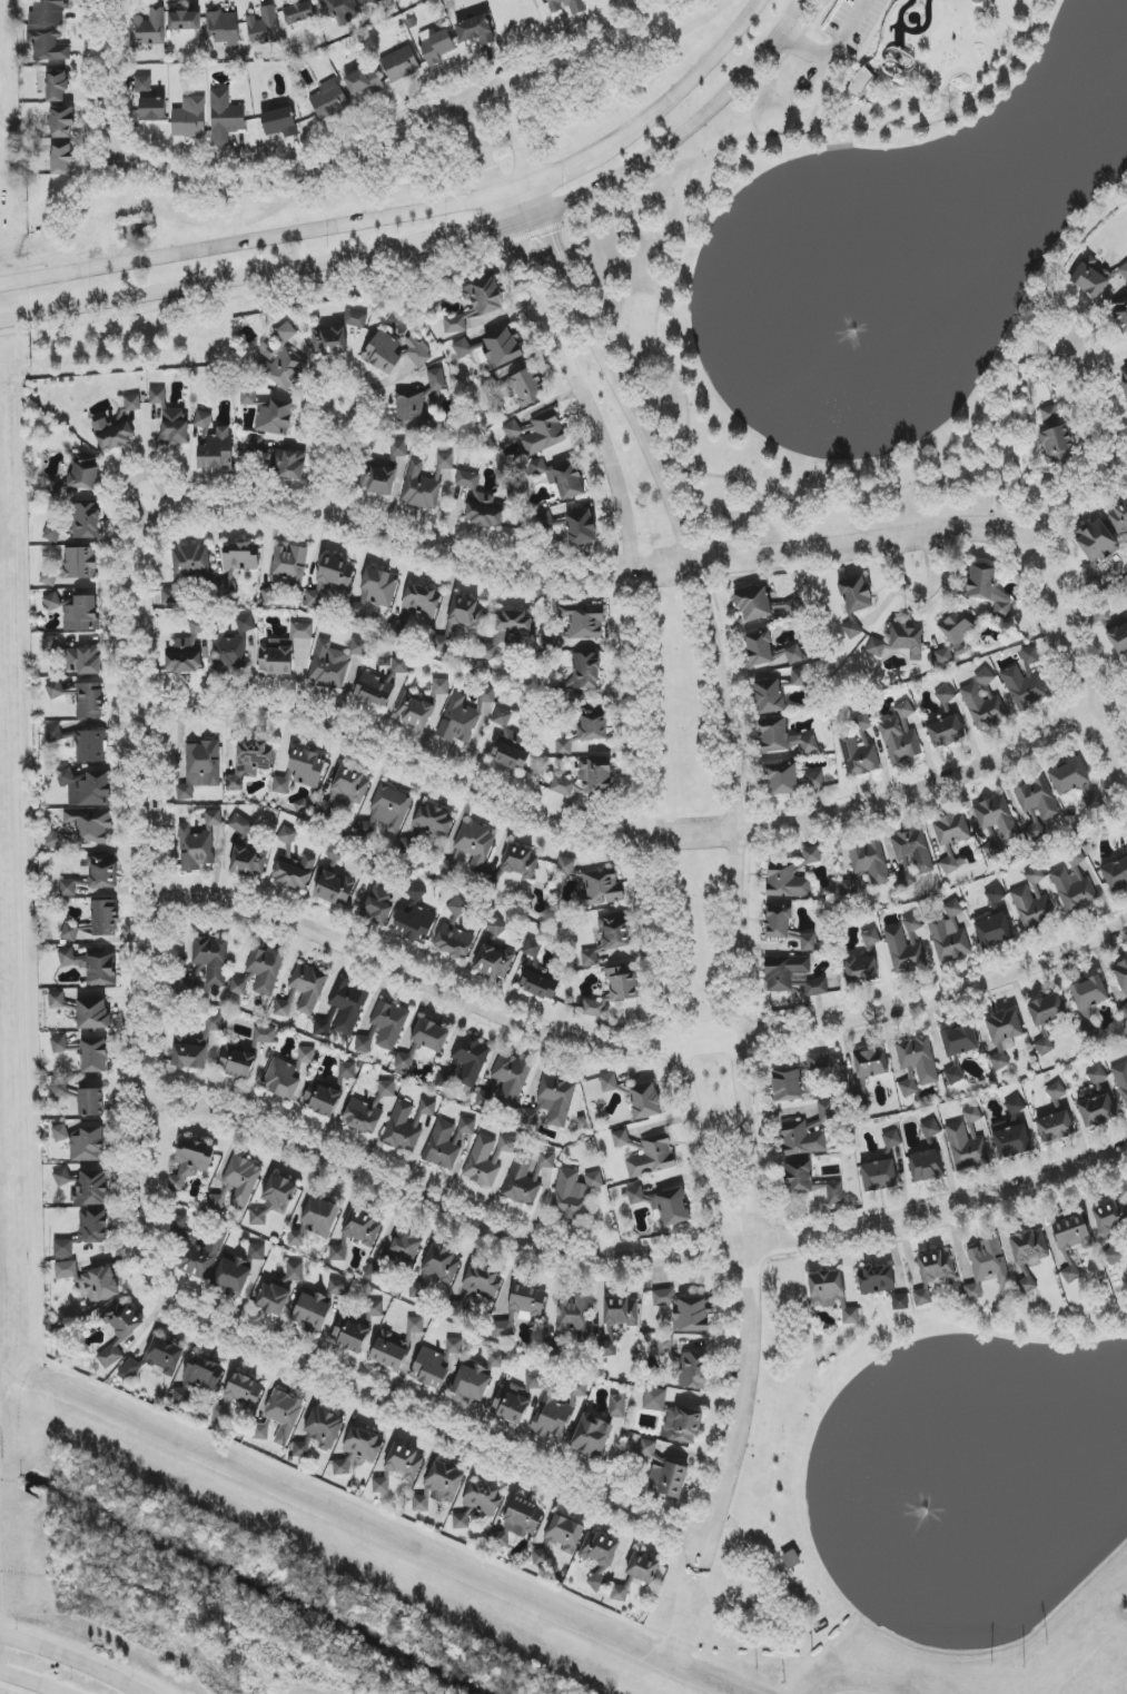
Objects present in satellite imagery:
building: (595, 0)
building: (369, 2)
building: (567, 7)
building: (342, 10)
building: (48, 12)
building: (299, 12)
building: (184, 21)
building: (264, 27)
building: (223, 28)
building: (150, 30)
building: (475, 30)
building: (48, 46)
building: (436, 46)
road: (833, 50)
road: (780, 63)
building: (399, 65)
road: (695, 75)
road: (107, 79)
building: (364, 81)
building: (142, 83)
building: (860, 83)
building: (57, 86)
building: (329, 100)
building: (152, 109)
road: (939, 117)
building: (189, 118)
building: (225, 118)
road: (401, 120)
building: (62, 122)
building: (279, 122)
road: (689, 127)
road: (731, 141)
building: (61, 158)
road: (558, 167)
road: (488, 229)
road: (248, 240)
building: (1124, 271)
building: (1091, 277)
road: (217, 284)
building: (476, 304)
building: (1120, 313)
building: (355, 319)
fountain: (852, 329)
building: (285, 334)
building: (328, 340)
building: (494, 348)
building: (416, 350)
building: (383, 353)
building: (284, 368)
building: (1124, 382)
building: (518, 387)
building: (157, 396)
building: (248, 397)
building: (417, 403)
road: (1098, 408)
building: (1049, 415)
building: (275, 418)
building: (204, 423)
road: (350, 425)
building: (174, 426)
building: (516, 430)
building: (544, 434)
building: (1056, 445)
road: (688, 447)
building: (398, 449)
building: (217, 450)
building: (276, 459)
road: (989, 462)
road: (332, 469)
building: (83, 472)
road: (130, 475)
building: (560, 477)
building: (378, 479)
building: (467, 479)
building: (424, 483)
building: (55, 489)
building: (484, 511)
road: (990, 514)
building: (1120, 518)
building: (86, 521)
building: (581, 527)
building: (52, 534)
building: (1096, 542)
building: (238, 563)
building: (288, 564)
building: (72, 566)
road: (662, 567)
building: (186, 571)
building: (1091, 575)
building: (329, 581)
building: (981, 582)
building: (375, 591)
road: (920, 592)
building: (268, 595)
building: (421, 601)
building: (854, 603)
building: (753, 604)
building: (789, 608)
building: (1001, 610)
building: (75, 611)
building: (461, 620)
building: (582, 621)
building: (301, 631)
building: (1113, 631)
building: (507, 632)
building: (955, 636)
building: (908, 641)
road: (718, 642)
building: (50, 644)
building: (231, 647)
building: (876, 647)
building: (186, 650)
building: (769, 651)
building: (276, 657)
road: (639, 658)
road: (1074, 660)
building: (82, 661)
building: (333, 663)
building: (399, 665)
building: (586, 671)
building: (799, 677)
building: (1025, 681)
building: (439, 687)
building: (55, 690)
building: (375, 691)
building: (486, 695)
building: (945, 695)
building: (769, 696)
building: (89, 701)
building: (982, 702)
building: (415, 710)
building: (459, 717)
building: (585, 731)
building: (946, 732)
building: (899, 734)
building: (783, 737)
building: (81, 743)
building: (508, 743)
building: (859, 750)
building: (248, 763)
building: (200, 769)
building: (301, 771)
building: (593, 776)
building: (1068, 776)
building: (783, 779)
building: (562, 785)
building: (87, 787)
building: (346, 790)
building: (1093, 801)
building: (1037, 806)
building: (388, 811)
building: (997, 818)
building: (433, 820)
building: (240, 825)
building: (90, 826)
building: (951, 830)
road: (635, 833)
building: (55, 840)
building: (198, 844)
building: (469, 849)
building: (993, 850)
building: (812, 855)
building: (912, 855)
building: (248, 862)
building: (291, 862)
building: (520, 863)
building: (565, 866)
building: (102, 871)
building: (1116, 874)
building: (1035, 875)
building: (787, 882)
building: (1075, 885)
building: (71, 888)
building: (601, 889)
building: (335, 890)
building: (415, 892)
road: (155, 893)
building: (995, 894)
building: (378, 907)
building: (1031, 908)
building: (96, 921)
building: (778, 922)
building: (415, 924)
building: (496, 927)
building: (997, 929)
building: (949, 933)
building: (455, 934)
building: (610, 938)
building: (808, 942)
building: (904, 945)
building: (532, 948)
building: (211, 959)
building: (494, 961)
building: (91, 965)
building: (265, 970)
building: (860, 970)
building: (1121, 975)
building: (792, 977)
building: (540, 982)
building: (189, 983)
building: (622, 983)
building: (238, 987)
building: (308, 987)
building: (1090, 992)
building: (56, 1000)
building: (347, 1005)
building: (594, 1007)
building: (1125, 1008)
building: (1047, 1009)
building: (92, 1014)
building: (388, 1023)
building: (324, 1027)
building: (1004, 1033)
building: (265, 1034)
building: (429, 1036)
building: (960, 1040)
building: (365, 1042)
road: (636, 1043)
building: (59, 1044)
building: (195, 1047)
building: (1044, 1047)
building: (1126, 1049)
building: (93, 1056)
building: (918, 1058)
building: (238, 1060)
building: (404, 1062)
building: (466, 1062)
building: (823, 1062)
building: (870, 1063)
building: (347, 1070)
building: (287, 1074)
building: (953, 1076)
building: (1098, 1079)
building: (1121, 1079)
building: (505, 1081)
building: (607, 1082)
building: (788, 1086)
building: (59, 1088)
building: (908, 1088)
building: (386, 1089)
building: (1056, 1091)
building: (322, 1098)
building: (644, 1101)
building: (90, 1102)
building: (552, 1102)
building: (427, 1107)
building: (1095, 1108)
building: (363, 1116)
building: (404, 1127)
building: (1055, 1127)
building: (930, 1128)
building: (809, 1132)
building: (1011, 1132)
building: (60, 1133)
building: (621, 1139)
building: (891, 1140)
building: (447, 1142)
building: (968, 1142)
building: (88, 1146)
building: (487, 1159)
building: (652, 1159)
building: (546, 1160)
building: (190, 1163)
building: (927, 1166)
building: (879, 1176)
building: (62, 1177)
building: (799, 1177)
building: (523, 1181)
building: (237, 1185)
building: (91, 1189)
building: (832, 1191)
building: (574, 1193)
building: (275, 1200)
building: (663, 1205)
building: (315, 1221)
building: (1111, 1226)
building: (178, 1227)
building: (85, 1232)
building: (356, 1234)
building: (1071, 1242)
building: (405, 1247)
building: (257, 1252)
building: (1028, 1255)
building: (200, 1257)
road: (629, 1259)
building: (987, 1266)
building: (436, 1270)
building: (294, 1271)
building: (374, 1274)
building: (932, 1274)
building: (231, 1276)
building: (90, 1280)
building: (876, 1280)
building: (336, 1287)
building: (476, 1289)
building: (831, 1295)
building: (273, 1299)
building: (525, 1300)
building: (900, 1301)
building: (374, 1309)
building: (312, 1311)
building: (685, 1311)
building: (574, 1315)
building: (616, 1319)
building: (123, 1320)
building: (504, 1327)
building: (350, 1334)
building: (396, 1346)
building: (665, 1348)
building: (110, 1357)
building: (495, 1360)
building: (435, 1364)
building: (694, 1370)
building: (196, 1381)
building: (534, 1381)
building: (472, 1385)
building: (579, 1388)
building: (238, 1397)
building: (654, 1399)
building: (511, 1403)
building: (617, 1405)
road: (740, 1409)
building: (551, 1416)
road: (431, 1417)
building: (279, 1418)
building: (681, 1425)
building: (319, 1433)
building: (591, 1436)
building: (358, 1449)
building: (399, 1466)
building: (664, 1473)
building: (439, 1487)
fountain: (943, 1494)
building: (477, 1504)
building: (521, 1519)
building: (564, 1534)
building: (599, 1556)
building: (541, 1557)
building: (791, 1559)
building: (636, 1575)
road: (1, 1596)
road: (69, 1662)
road: (24, 1683)

